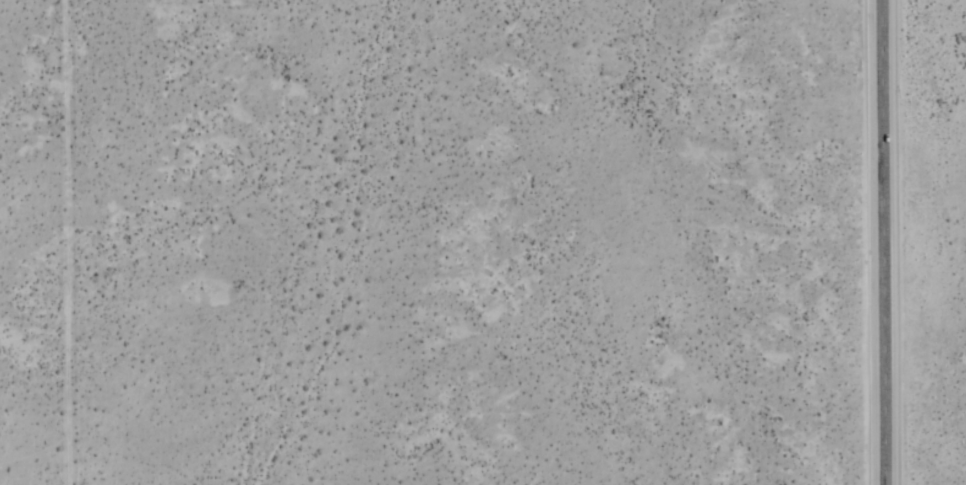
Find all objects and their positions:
road: (893, 242)

